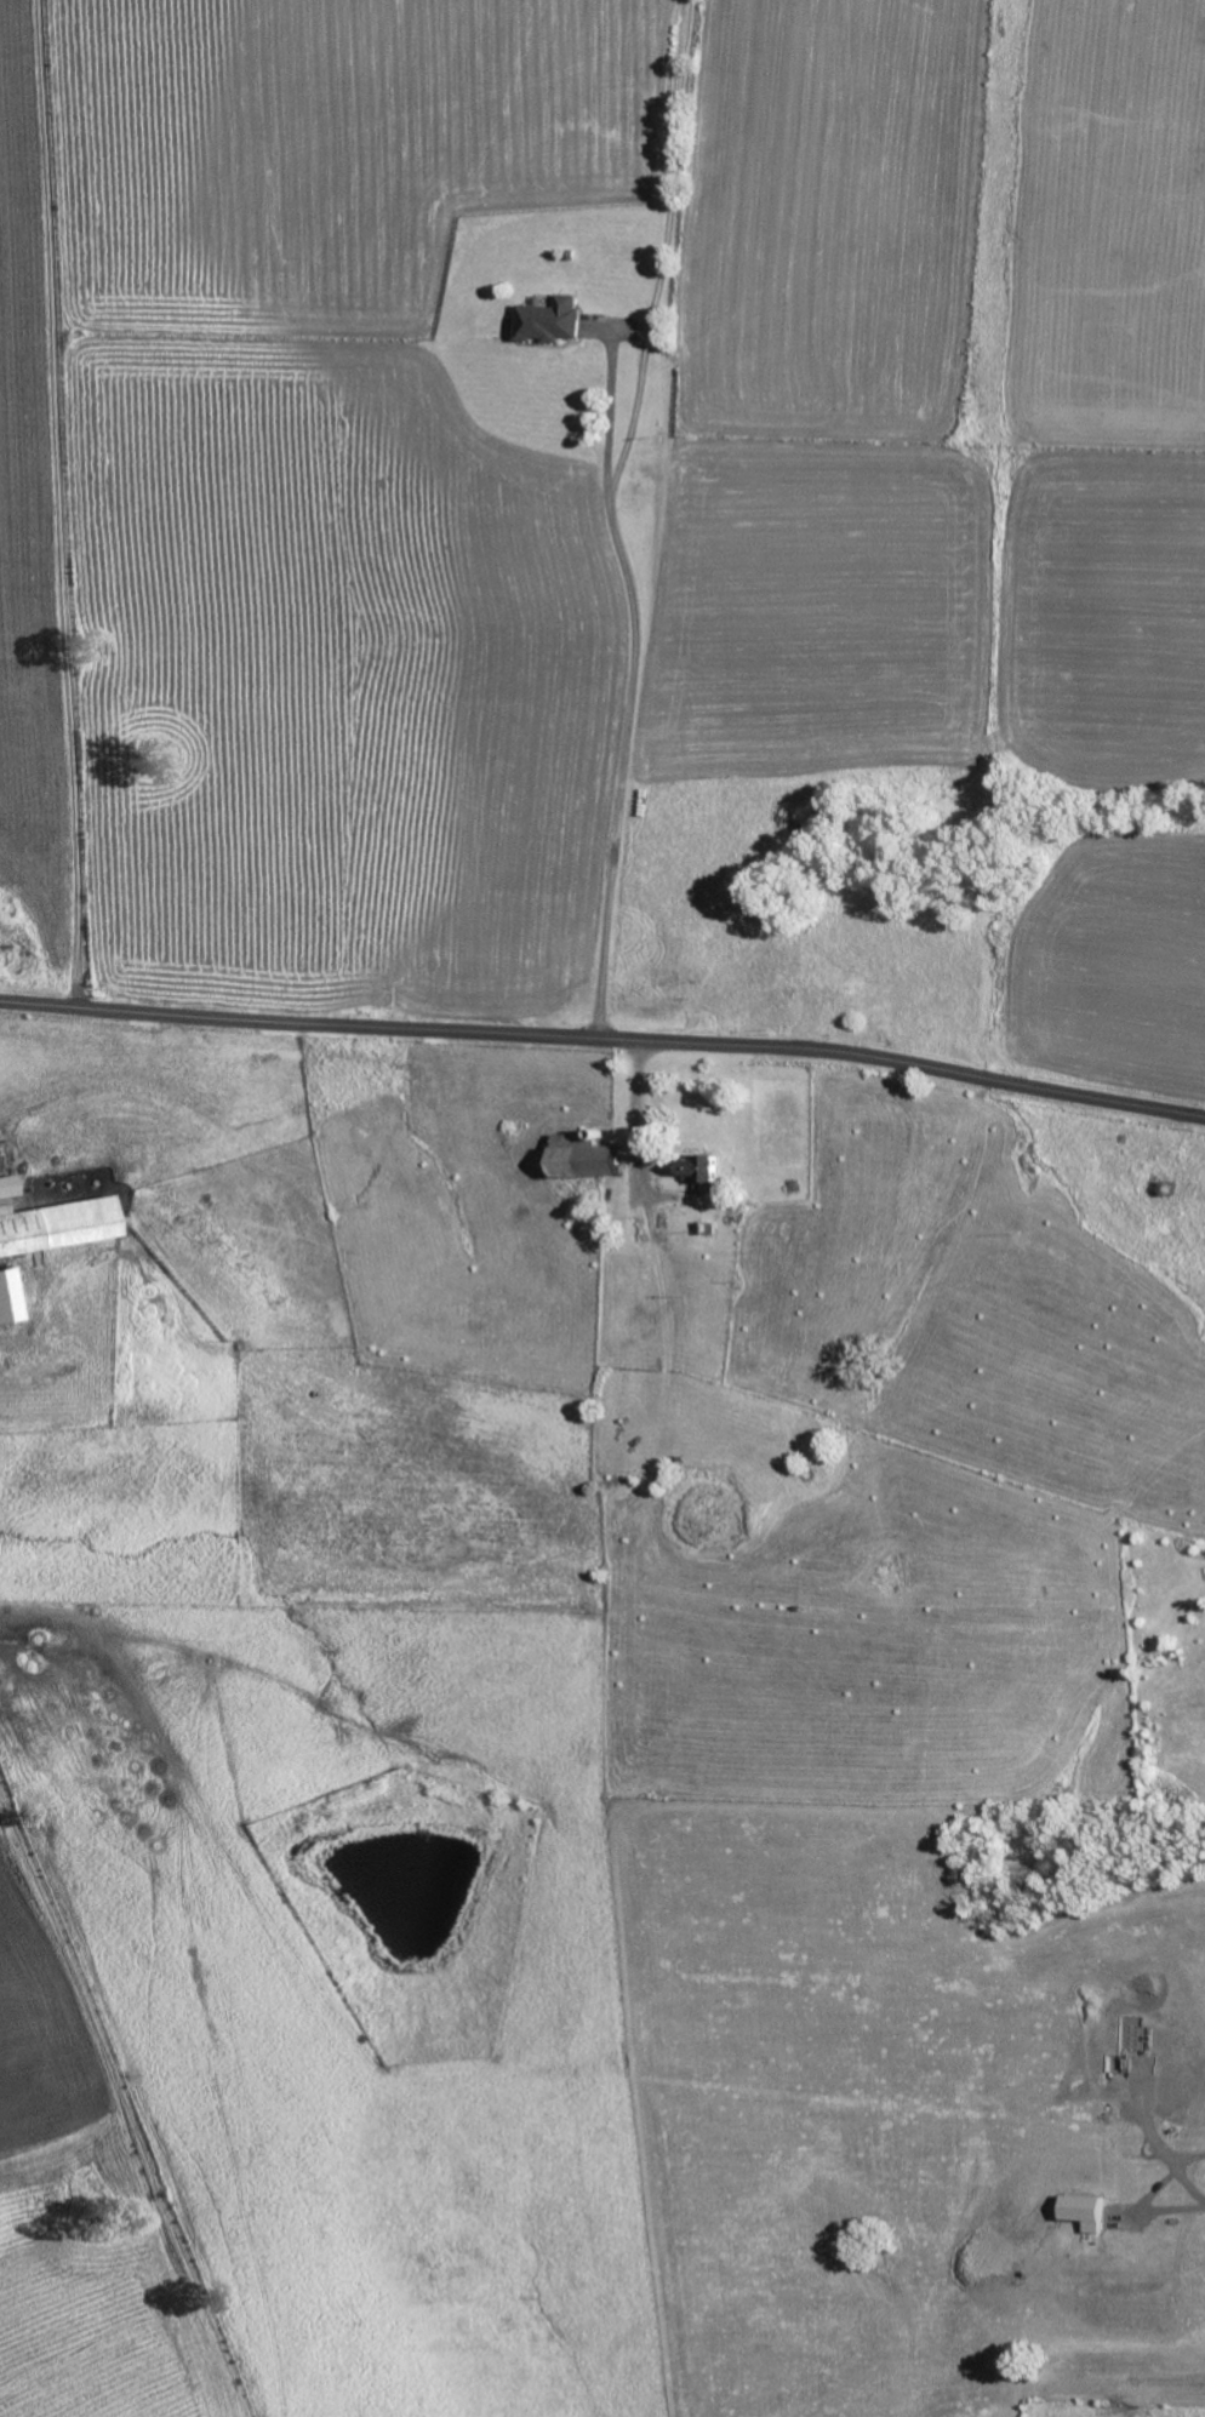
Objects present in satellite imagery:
building: (554, 322)
road: (62, 502)
road: (611, 515)
road: (605, 1036)
building: (589, 1159)
building: (707, 1176)
building: (10, 1189)
building: (58, 1228)
building: (11, 1298)
road: (1177, 2165)
building: (1087, 2213)

